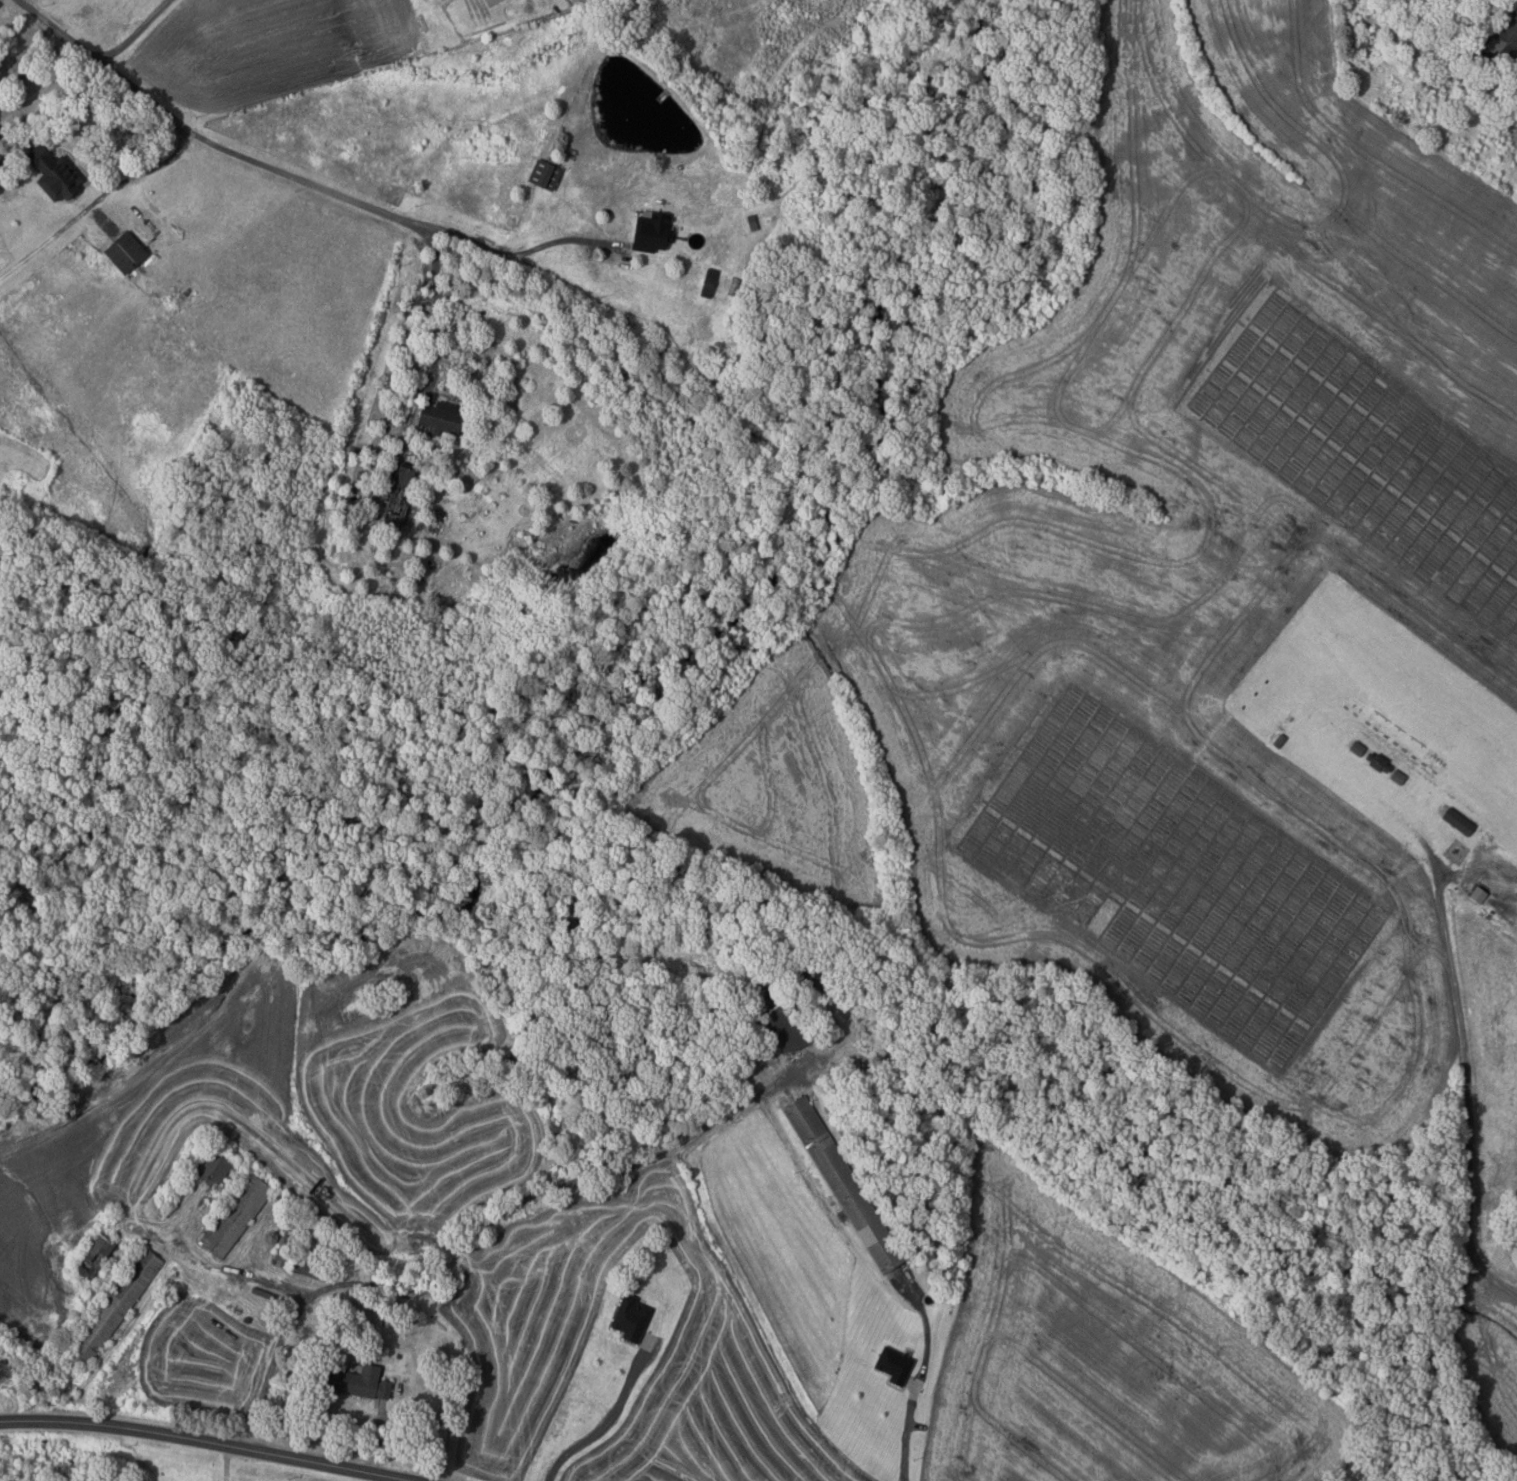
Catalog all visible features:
building: (1412, 2)
road: (132, 32)
building: (1368, 37)
building: (1498, 41)
road: (51, 75)
road: (250, 156)
building: (543, 175)
building: (53, 176)
road: (96, 202)
building: (751, 223)
building: (650, 233)
road: (558, 239)
building: (124, 253)
building: (708, 282)
road: (438, 311)
building: (440, 418)
building: (424, 488)
building: (397, 500)
building: (2, 566)
crop: (1172, 592)
building: (1279, 740)
building: (1356, 748)
building: (1377, 762)
building: (1398, 777)
building: (1458, 821)
building: (806, 971)
building: (780, 1014)
road: (1466, 1083)
crop: (275, 1107)
building: (210, 1170)
building: (845, 1182)
building: (233, 1215)
road: (475, 1237)
building: (92, 1255)
building: (315, 1267)
crop: (522, 1292)
building: (113, 1306)
building: (630, 1317)
building: (246, 1319)
building: (398, 1356)
crop: (1105, 1357)
crop: (189, 1363)
building: (894, 1364)
road: (927, 1379)
building: (356, 1382)
road: (610, 1417)
road: (376, 1437)
road: (207, 1441)
road: (226, 1462)

